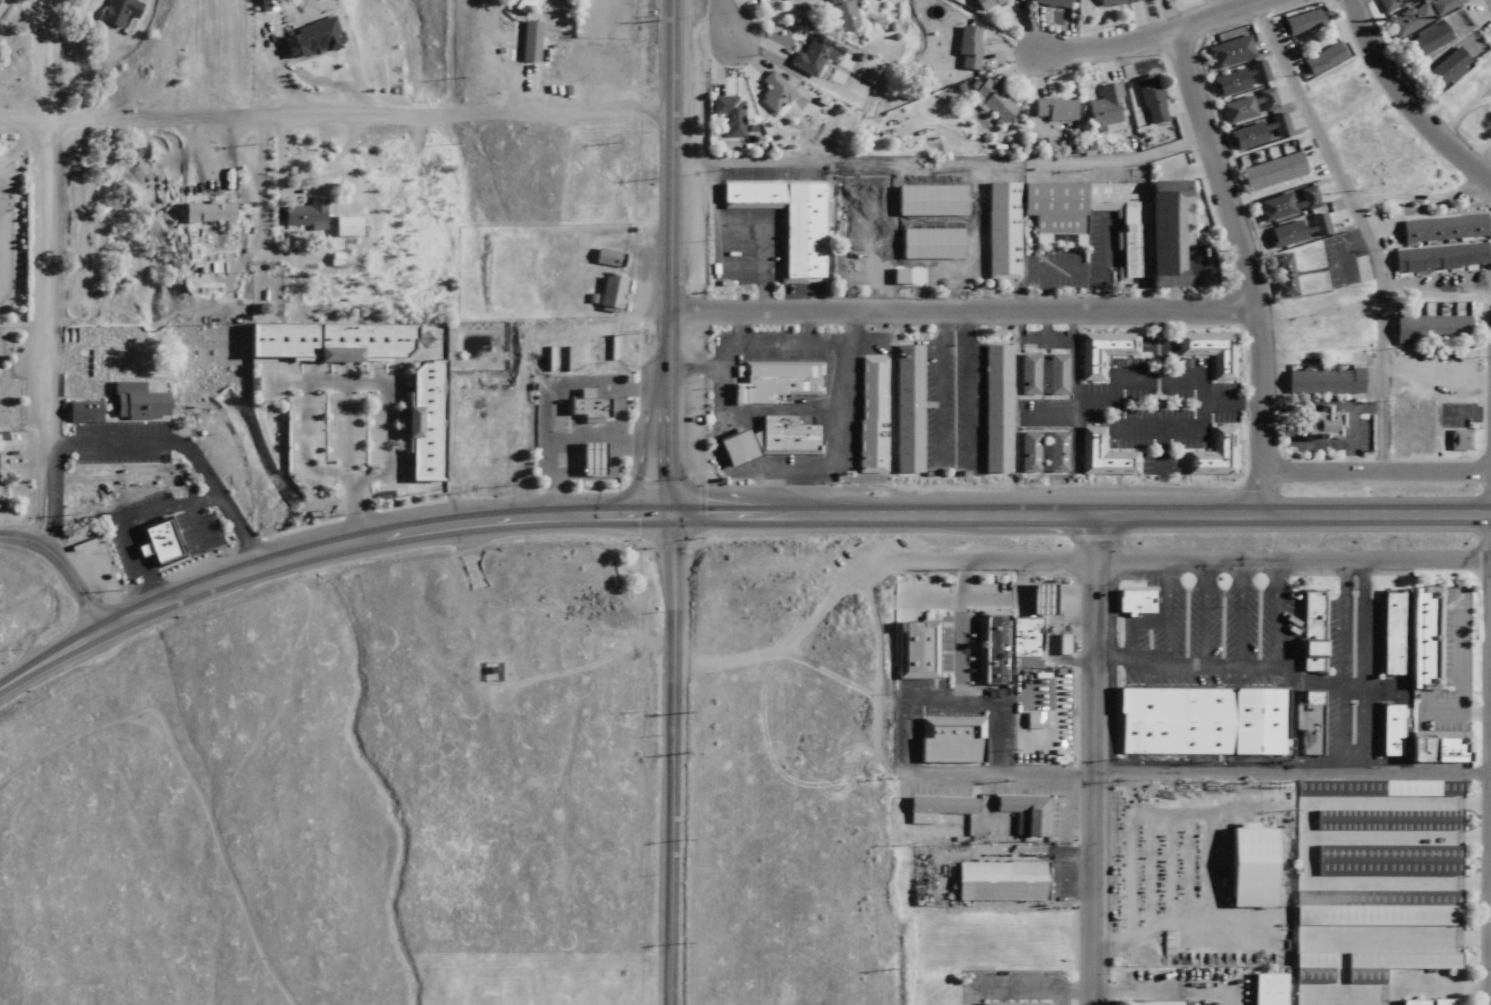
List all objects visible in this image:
building: (765, 0)
building: (1154, 0)
building: (1112, 2)
building: (1050, 3)
building: (985, 4)
building: (265, 5)
building: (1390, 5)
building: (522, 6)
building: (1444, 6)
building: (119, 11)
road: (724, 13)
building: (841, 15)
building: (1303, 21)
building: (1409, 21)
road: (1154, 35)
building: (310, 38)
building: (528, 41)
building: (1428, 41)
building: (966, 48)
building: (1228, 52)
building: (809, 56)
building: (1323, 59)
building: (1448, 68)
building: (1239, 79)
building: (774, 94)
building: (1148, 99)
building: (1266, 100)
building: (991, 102)
road: (1403, 107)
building: (1051, 109)
building: (1103, 110)
building: (1236, 110)
building: (726, 114)
road: (333, 118)
building: (1257, 133)
building: (1270, 173)
building: (1285, 204)
building: (205, 213)
building: (302, 214)
building: (783, 221)
road: (761, 224)
building: (1146, 225)
building: (342, 227)
road: (940, 227)
building: (1315, 227)
road: (1361, 228)
building: (1440, 229)
building: (1283, 235)
road: (1364, 243)
road: (918, 246)
road: (1242, 246)
building: (1436, 258)
building: (605, 259)
road: (665, 259)
road: (1103, 263)
road: (1051, 266)
road: (34, 268)
road: (937, 269)
road: (742, 273)
building: (1279, 277)
building: (606, 293)
road: (1373, 300)
road: (961, 313)
building: (1427, 330)
building: (323, 342)
road: (791, 346)
building: (1207, 351)
building: (1099, 352)
road: (1073, 357)
building: (1053, 374)
building: (1025, 375)
road: (1136, 379)
building: (772, 382)
building: (1320, 382)
road: (388, 383)
road: (546, 397)
building: (136, 400)
road: (1232, 403)
building: (584, 408)
building: (903, 409)
building: (992, 409)
road: (727, 410)
building: (80, 412)
road: (617, 412)
road: (1351, 412)
building: (868, 415)
road: (1075, 415)
road: (1467, 415)
road: (1201, 422)
building: (419, 423)
road: (838, 425)
building: (1318, 425)
road: (344, 426)
road: (604, 435)
building: (782, 436)
road: (1076, 439)
building: (1456, 441)
road: (144, 442)
road: (1307, 442)
road: (1162, 447)
building: (732, 448)
building: (1025, 452)
building: (1053, 452)
building: (1210, 455)
building: (1099, 456)
building: (584, 459)
road: (956, 460)
road: (1160, 462)
road: (318, 471)
road: (1376, 472)
road: (1263, 493)
road: (1077, 516)
traffic signals: (665, 518)
road: (131, 519)
road: (198, 525)
road: (377, 539)
building: (156, 542)
road: (1181, 560)
road: (61, 567)
road: (981, 601)
building: (1132, 602)
road: (1168, 611)
road: (962, 612)
road: (1203, 612)
road: (1242, 612)
road: (1276, 612)
building: (1010, 637)
building: (1309, 639)
building: (1423, 639)
building: (914, 650)
road: (51, 659)
road: (1461, 663)
road: (1232, 664)
road: (1363, 665)
road: (1341, 666)
road: (952, 700)
road: (1441, 709)
building: (1200, 721)
building: (1310, 723)
building: (1389, 730)
building: (949, 740)
building: (1437, 747)
road: (1096, 760)
road: (672, 761)
road: (1489, 763)
road: (1199, 774)
building: (1376, 787)
building: (937, 806)
building: (1026, 811)
building: (1386, 819)
building: (1387, 860)
building: (1247, 865)
building: (999, 880)
building: (1375, 907)
building: (1392, 964)
building: (1311, 967)
road: (1079, 993)
building: (1424, 1001)
building: (1149, 1002)
building: (1010, 1003)

